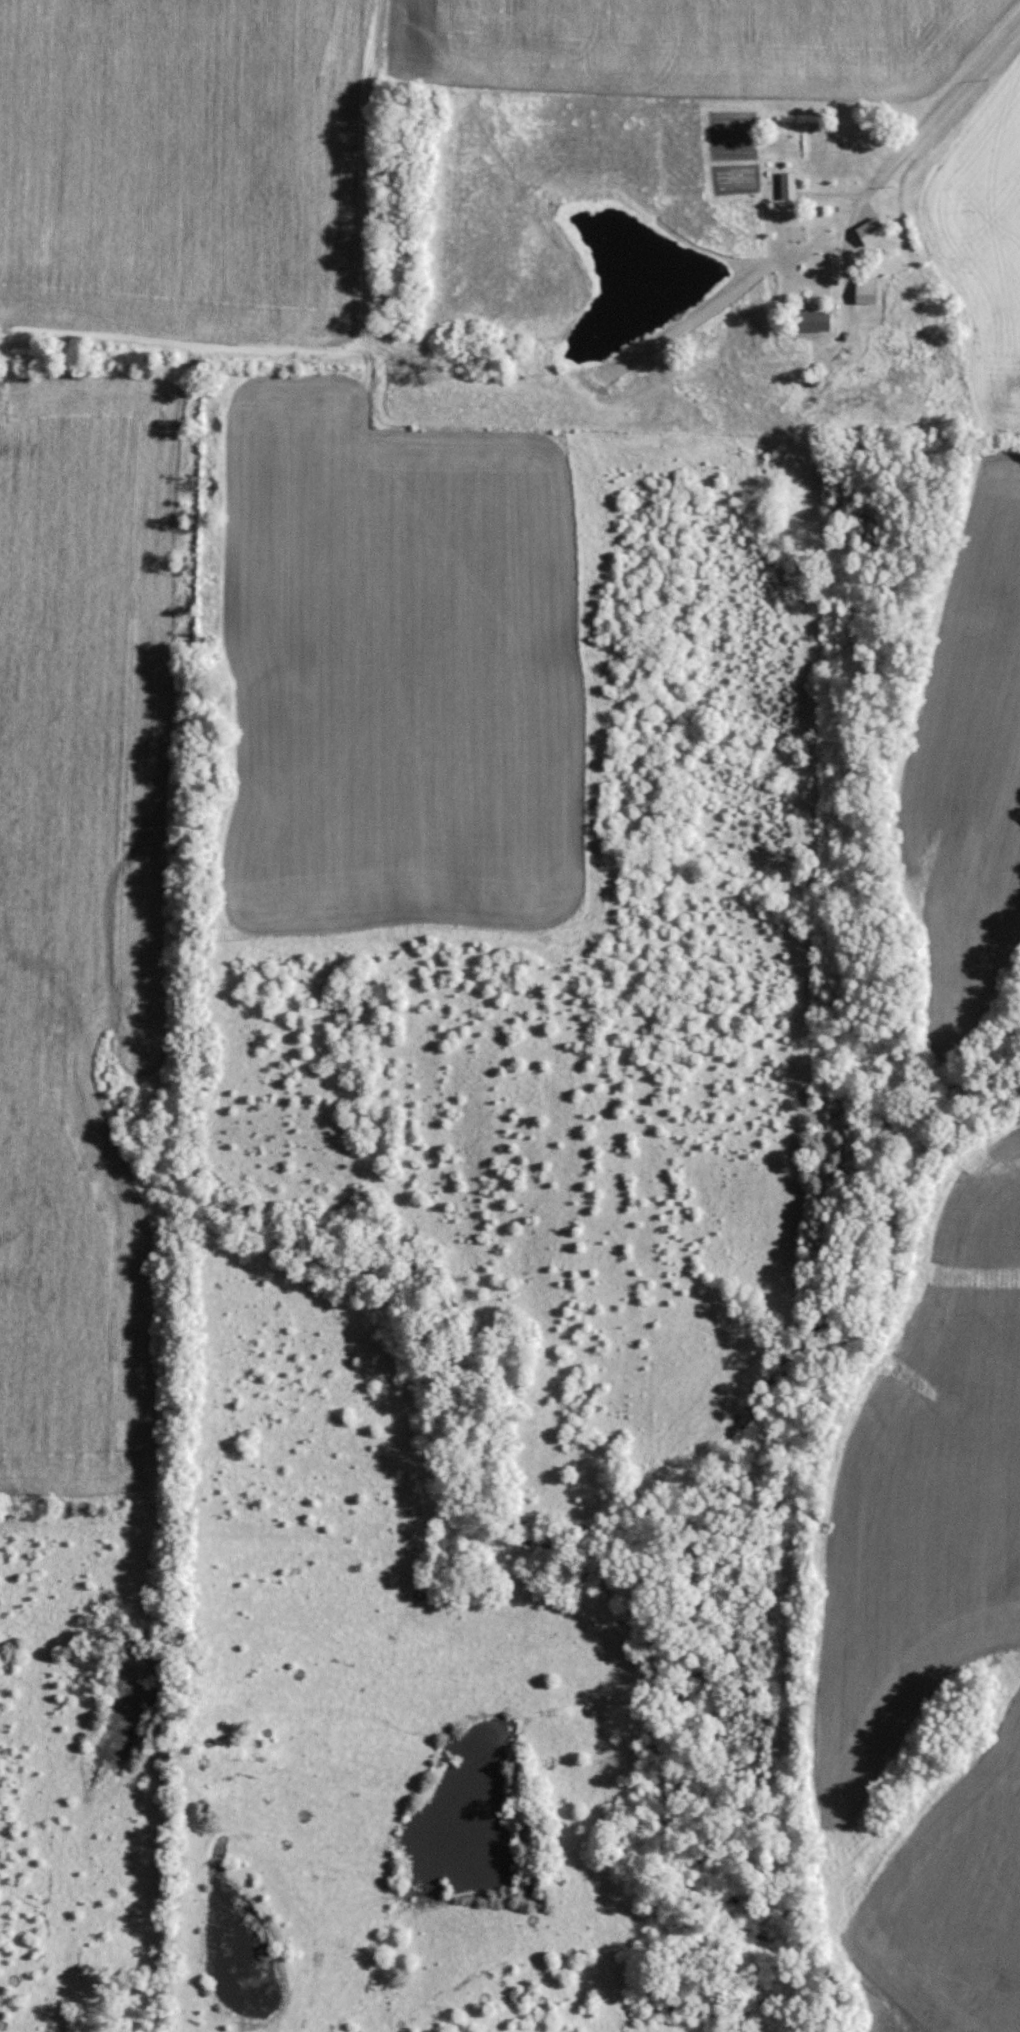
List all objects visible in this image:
road: (900, 156)
building: (865, 289)

